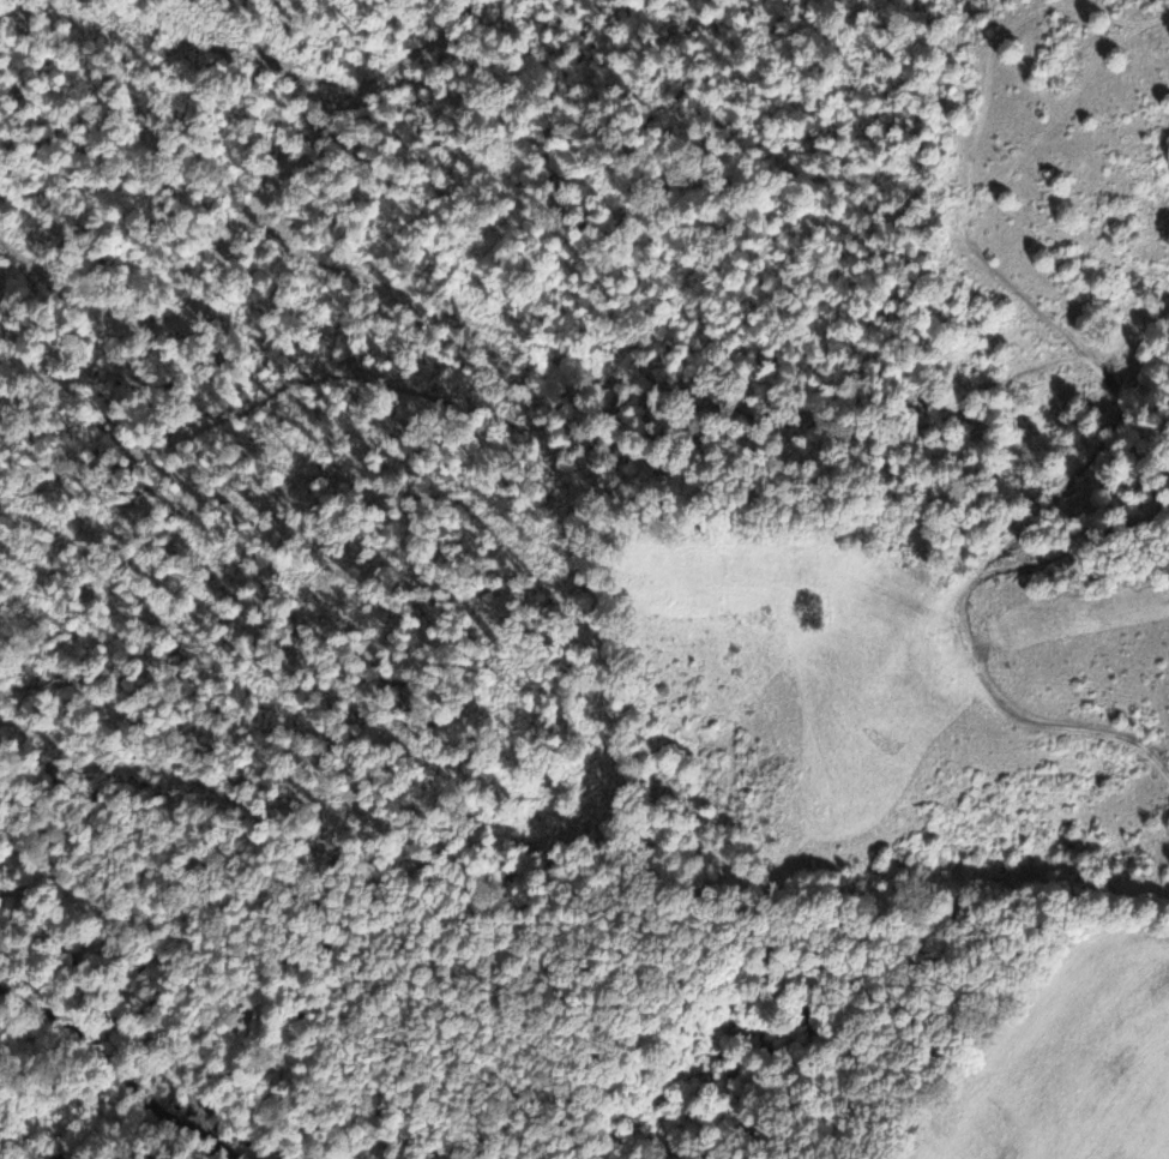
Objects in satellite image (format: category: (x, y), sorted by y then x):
road: (117, 937)
road: (97, 1037)
road: (193, 1093)
road: (223, 1135)

